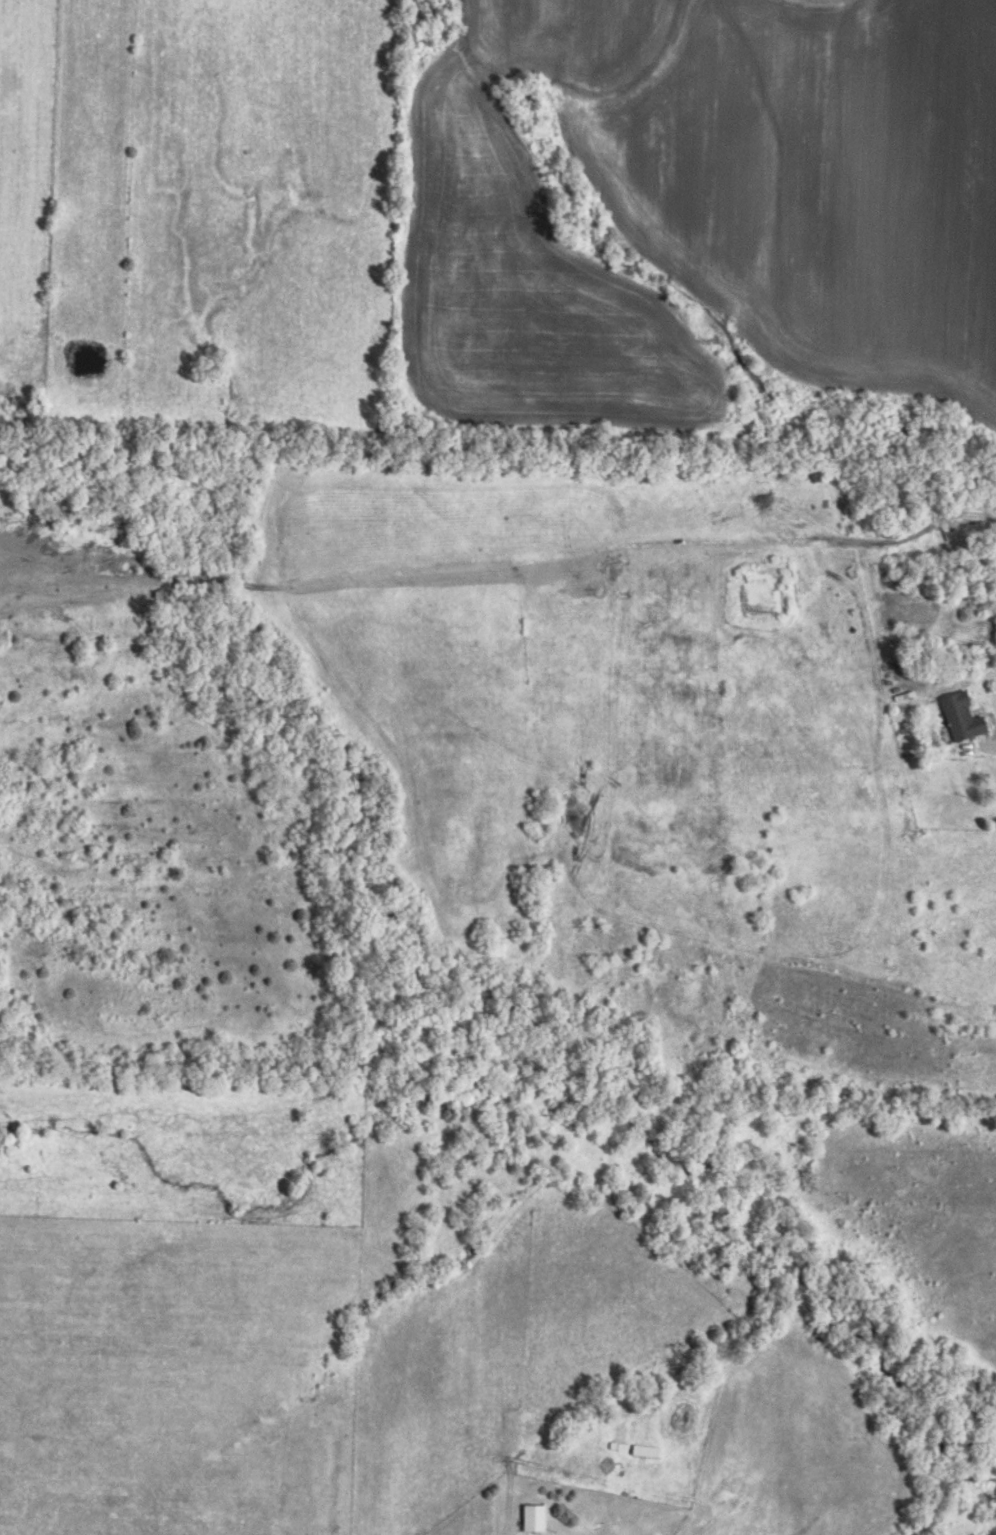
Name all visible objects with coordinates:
building: (958, 718)
building: (643, 1450)
building: (531, 1517)

